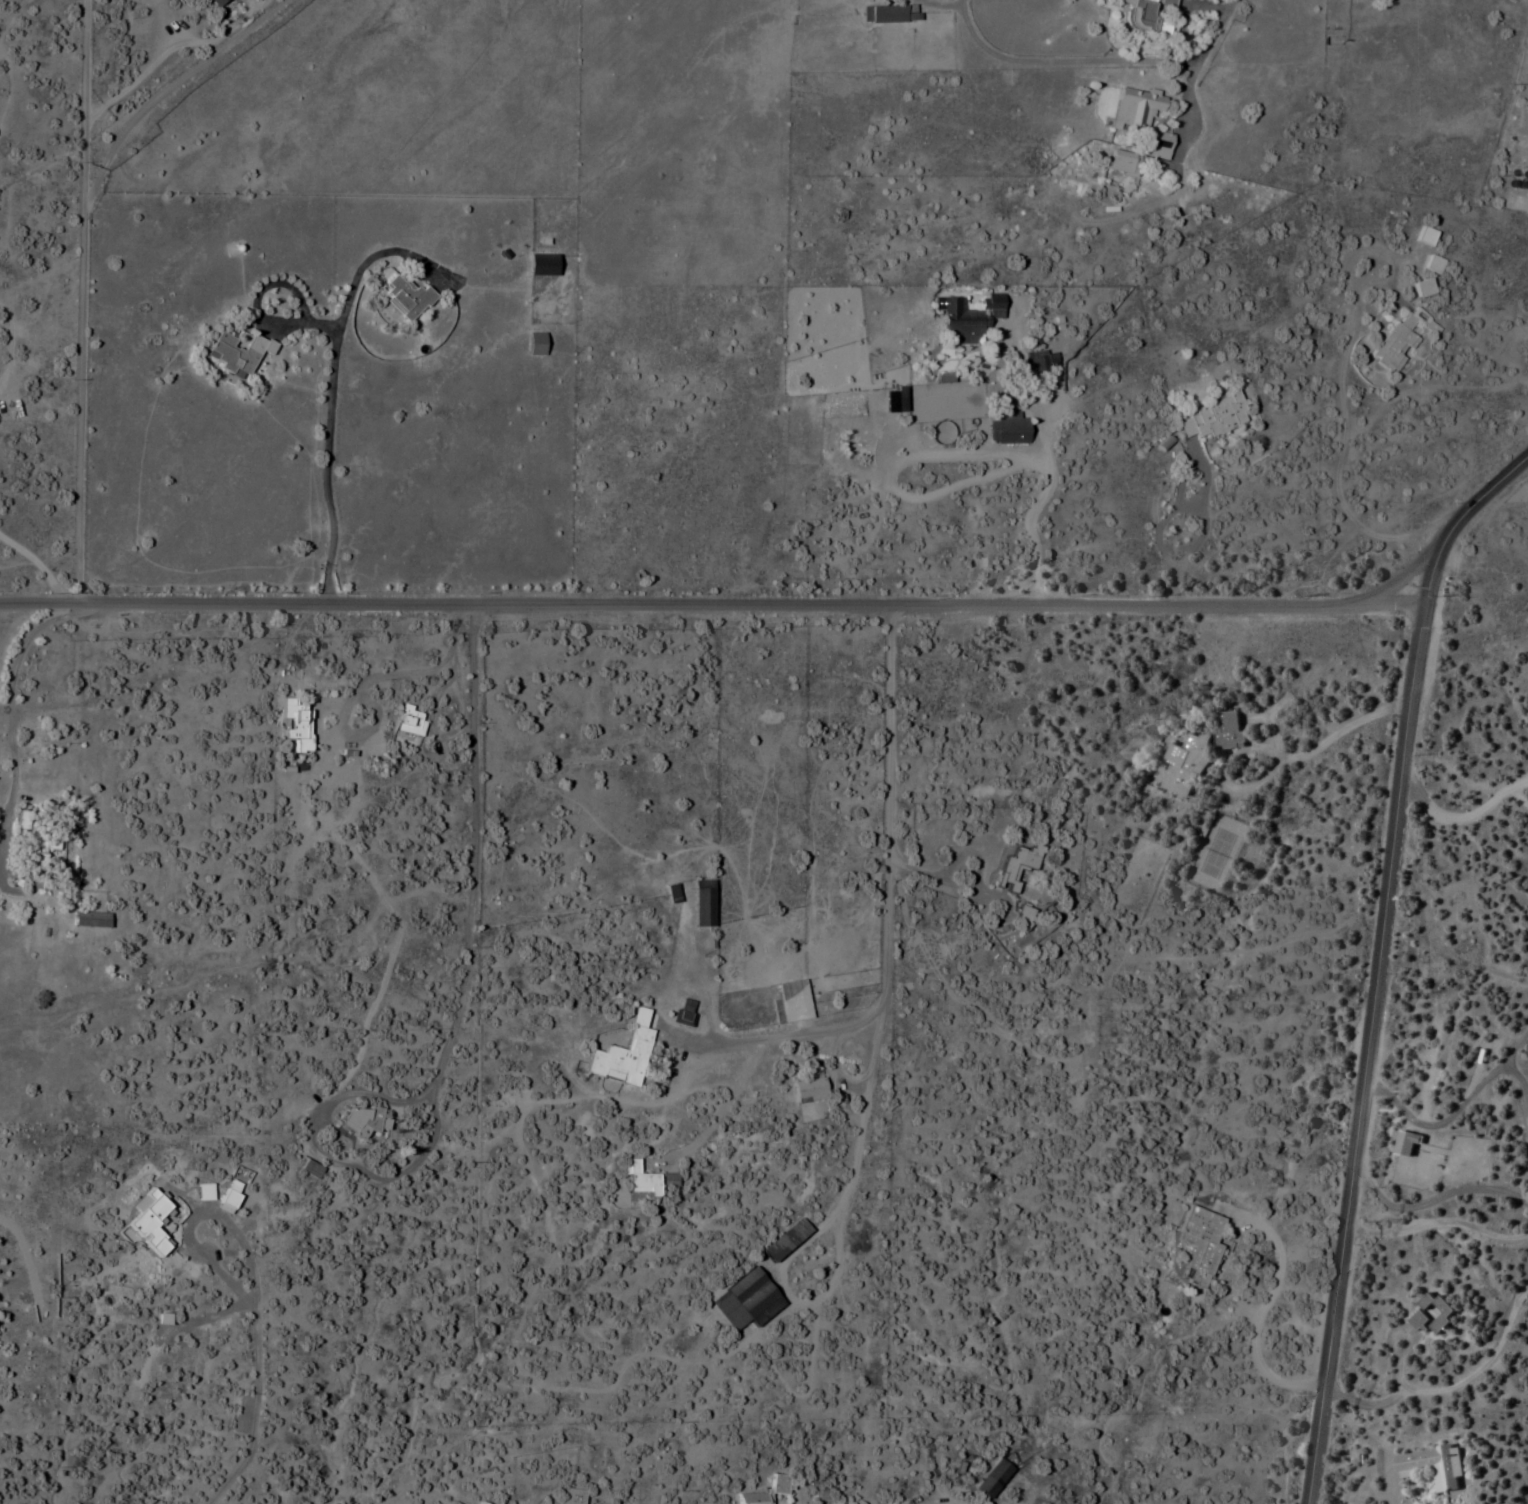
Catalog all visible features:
building: (216, 2)
building: (1167, 2)
building: (889, 13)
building: (1144, 16)
road: (1189, 85)
road: (170, 90)
building: (1135, 109)
building: (1158, 144)
building: (1123, 162)
building: (1425, 235)
building: (1434, 263)
building: (542, 264)
building: (1424, 287)
building: (405, 297)
road: (84, 300)
building: (969, 317)
building: (1401, 337)
building: (535, 343)
building: (239, 352)
building: (1041, 361)
building: (1210, 418)
building: (1010, 427)
road: (1049, 500)
road: (1399, 577)
road: (710, 601)
building: (293, 718)
building: (409, 719)
building: (1231, 731)
road: (889, 739)
building: (1187, 762)
road: (1457, 816)
building: (34, 832)
park: (1226, 850)
road: (483, 852)
building: (1016, 864)
building: (670, 893)
building: (701, 903)
building: (91, 917)
road: (1375, 960)
building: (789, 1002)
building: (566, 1012)
building: (682, 1012)
building: (1085, 1030)
building: (618, 1052)
building: (807, 1090)
building: (359, 1120)
building: (637, 1180)
road: (1434, 1226)
building: (783, 1240)
building: (1196, 1244)
building: (744, 1300)
building: (1429, 1314)
building: (1430, 1466)
building: (991, 1479)
building: (776, 1484)
building: (570, 1496)

